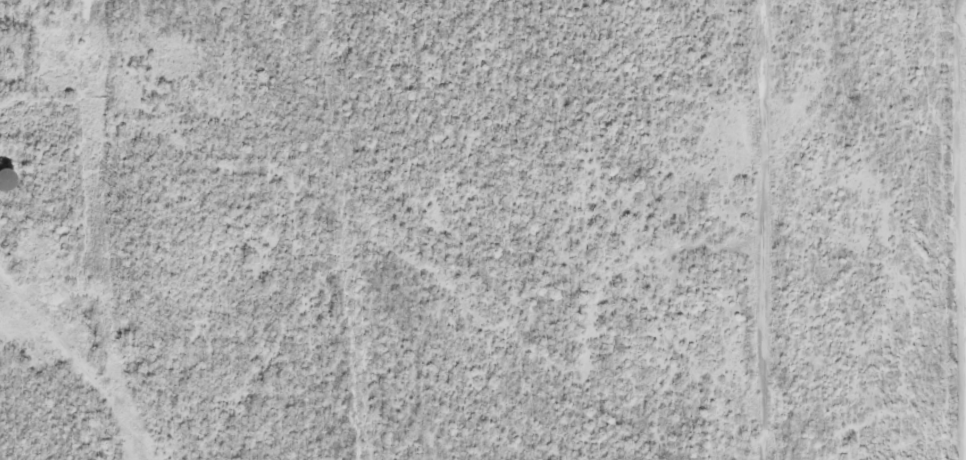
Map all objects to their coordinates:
road: (763, 229)

